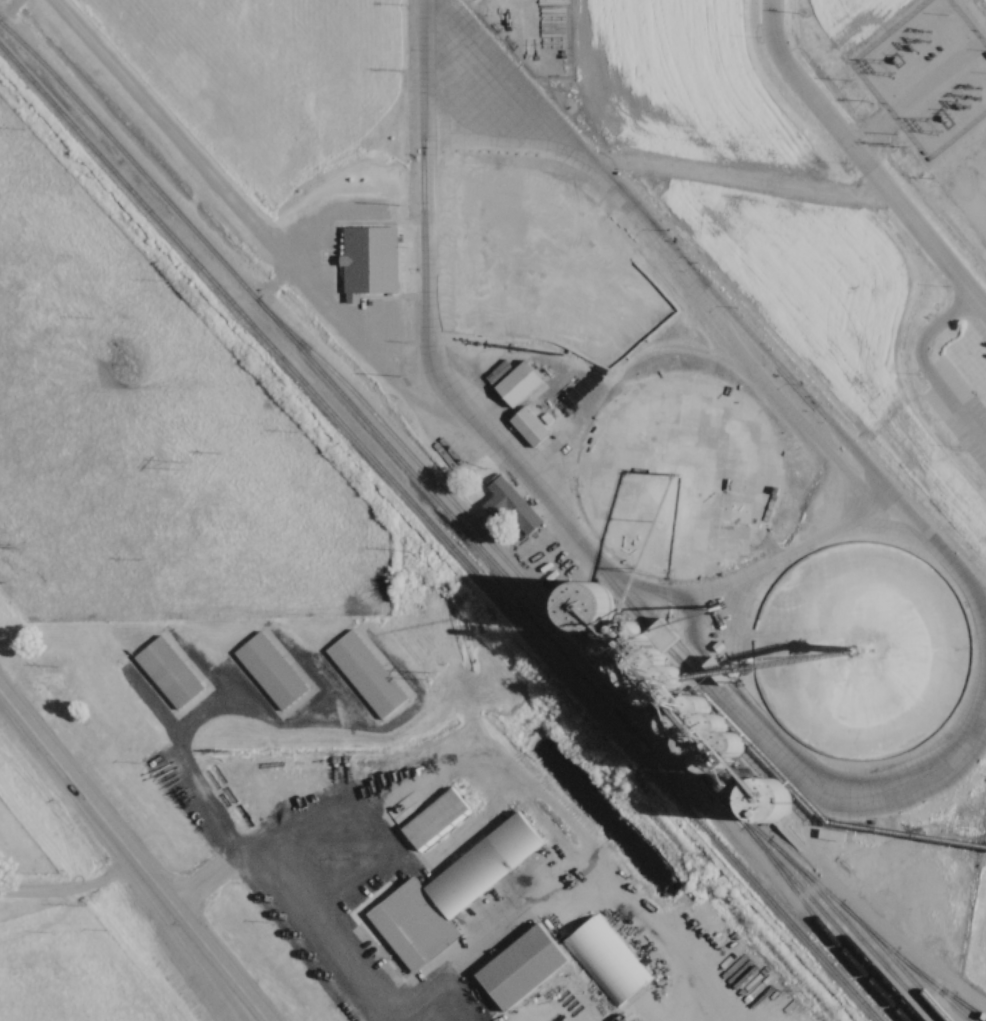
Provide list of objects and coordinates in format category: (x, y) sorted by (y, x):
road: (985, 37)
power substation: (932, 74)
road: (938, 74)
road: (872, 128)
road: (864, 162)
road: (690, 266)
building: (520, 383)
building: (530, 426)
power tower: (188, 467)
building: (511, 505)
railway: (463, 531)
power tower: (7, 544)
road: (719, 591)
building: (270, 671)
building: (167, 674)
power tower: (433, 675)
building: (364, 676)
building: (436, 819)
road: (116, 847)
road: (68, 893)
road: (300, 894)
building: (451, 894)
building: (607, 961)
building: (523, 967)
road: (235, 1008)
road: (239, 1008)
road: (696, 1016)

